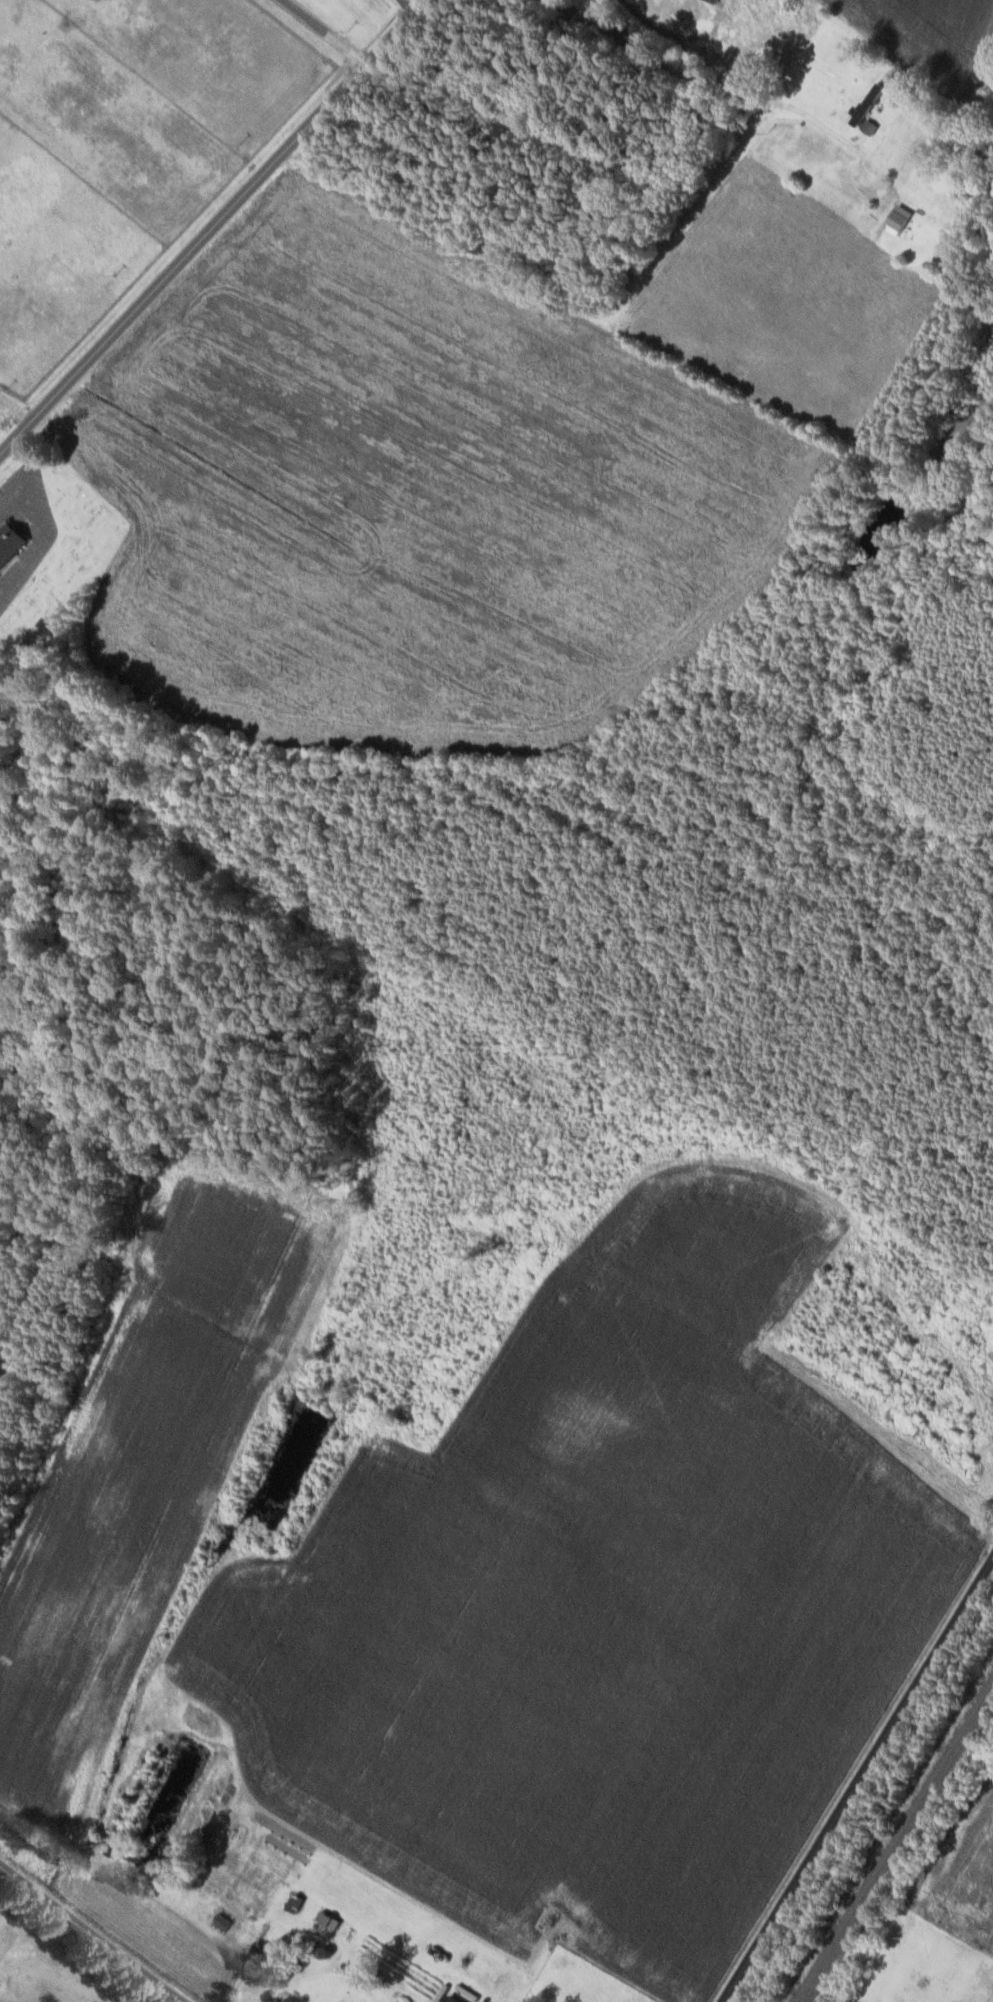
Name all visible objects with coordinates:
building: (718, 1)
road: (665, 29)
road: (326, 31)
road: (699, 73)
building: (869, 101)
building: (871, 124)
building: (900, 218)
road: (212, 226)
building: (12, 543)
crop: (241, 1245)
crop: (110, 1551)
crop: (526, 1606)
road: (735, 1676)
crop: (784, 1739)
road: (855, 1777)
railway: (896, 1843)
crop: (964, 1869)
building: (296, 1901)
building: (329, 1919)
building: (223, 1920)
road: (55, 1934)
road: (90, 1935)
road: (333, 1939)
building: (326, 1951)
silo: (326, 1951)
park: (39, 1975)
building: (288, 1998)
road: (6, 1999)
road: (233, 1999)
building: (454, 1999)
building: (395, 2001)

